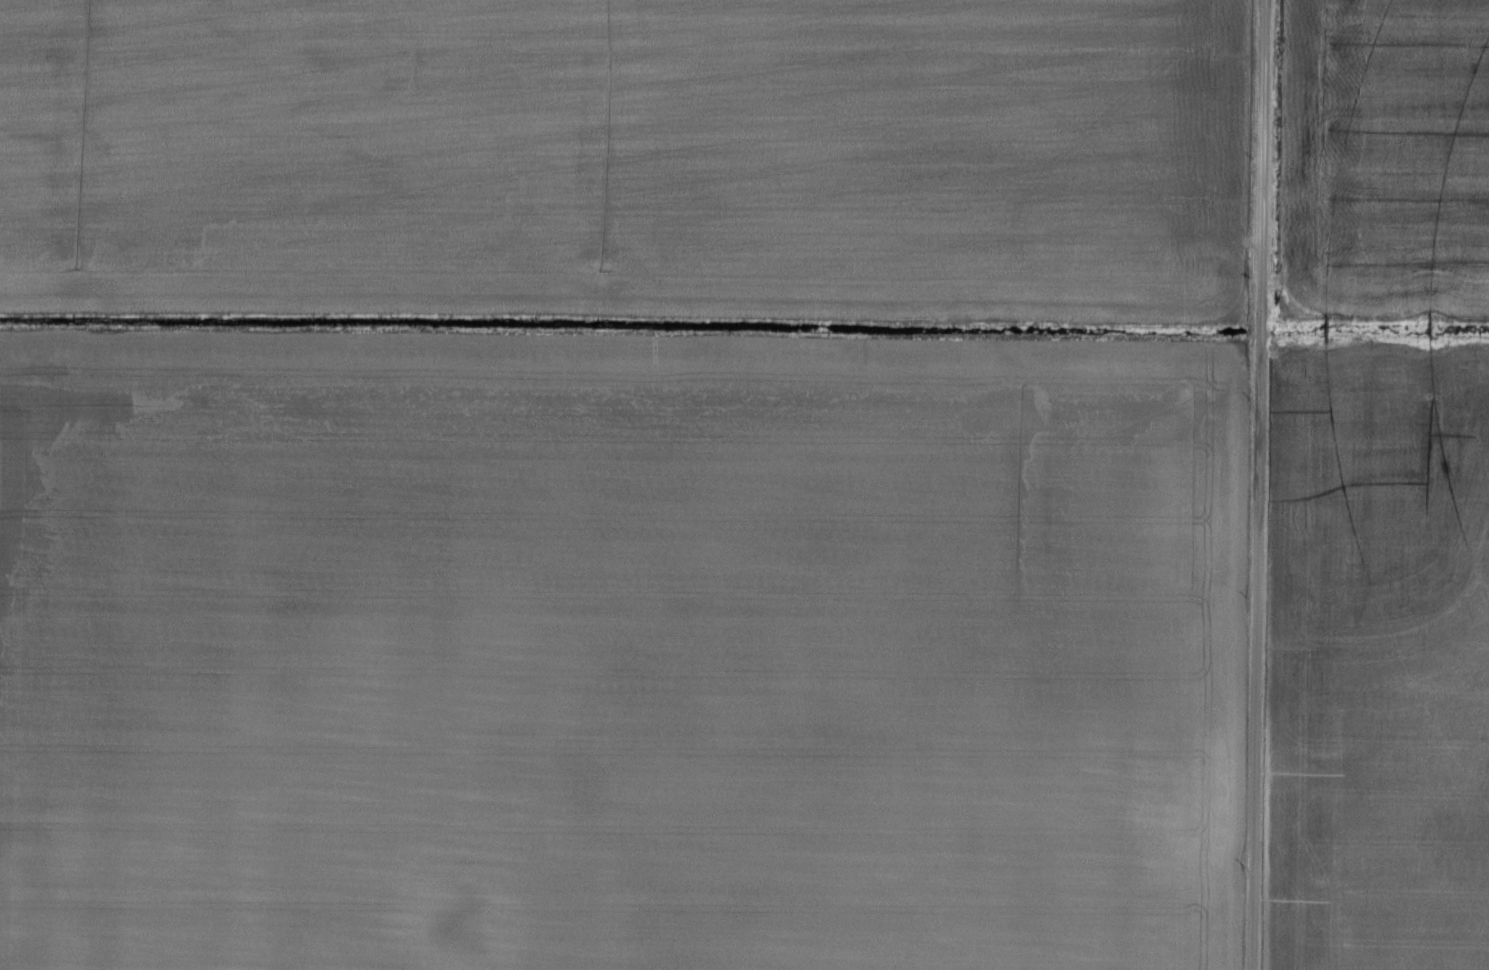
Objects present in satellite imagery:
road: (1250, 484)

